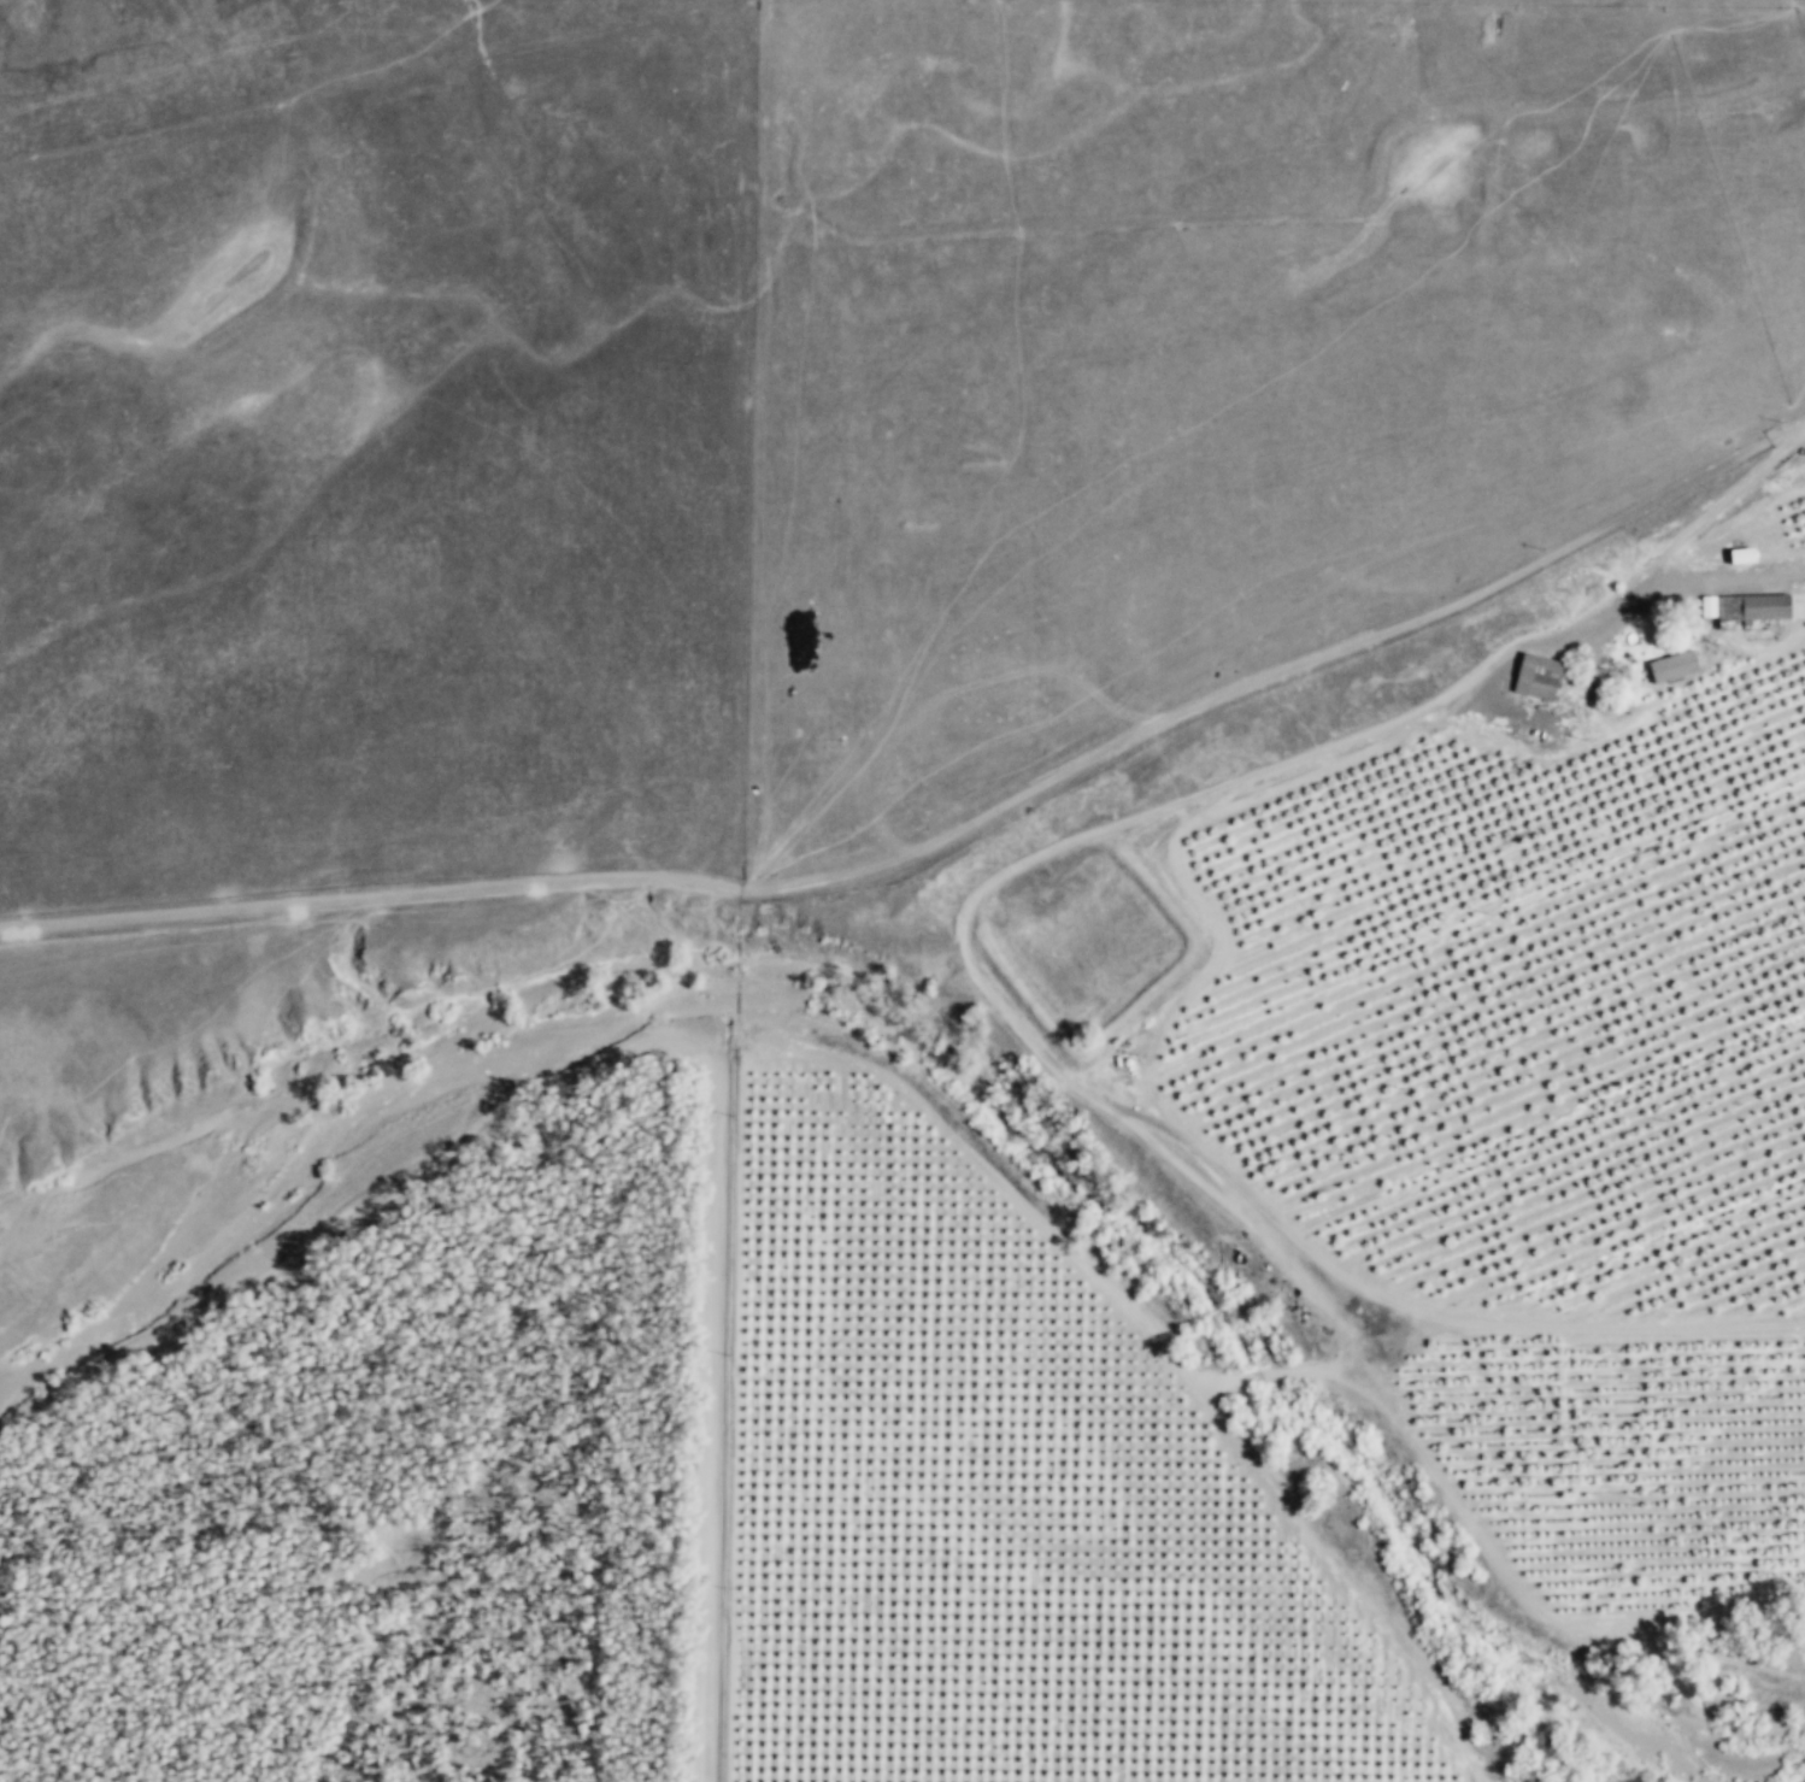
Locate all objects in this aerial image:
road: (1787, 431)
road: (1699, 519)
building: (1744, 555)
road: (1712, 582)
building: (1746, 607)
building: (1674, 666)
road: (1258, 675)
building: (1539, 677)
road: (372, 895)
road: (665, 1041)
river: (966, 1082)
river: (120, 1158)

